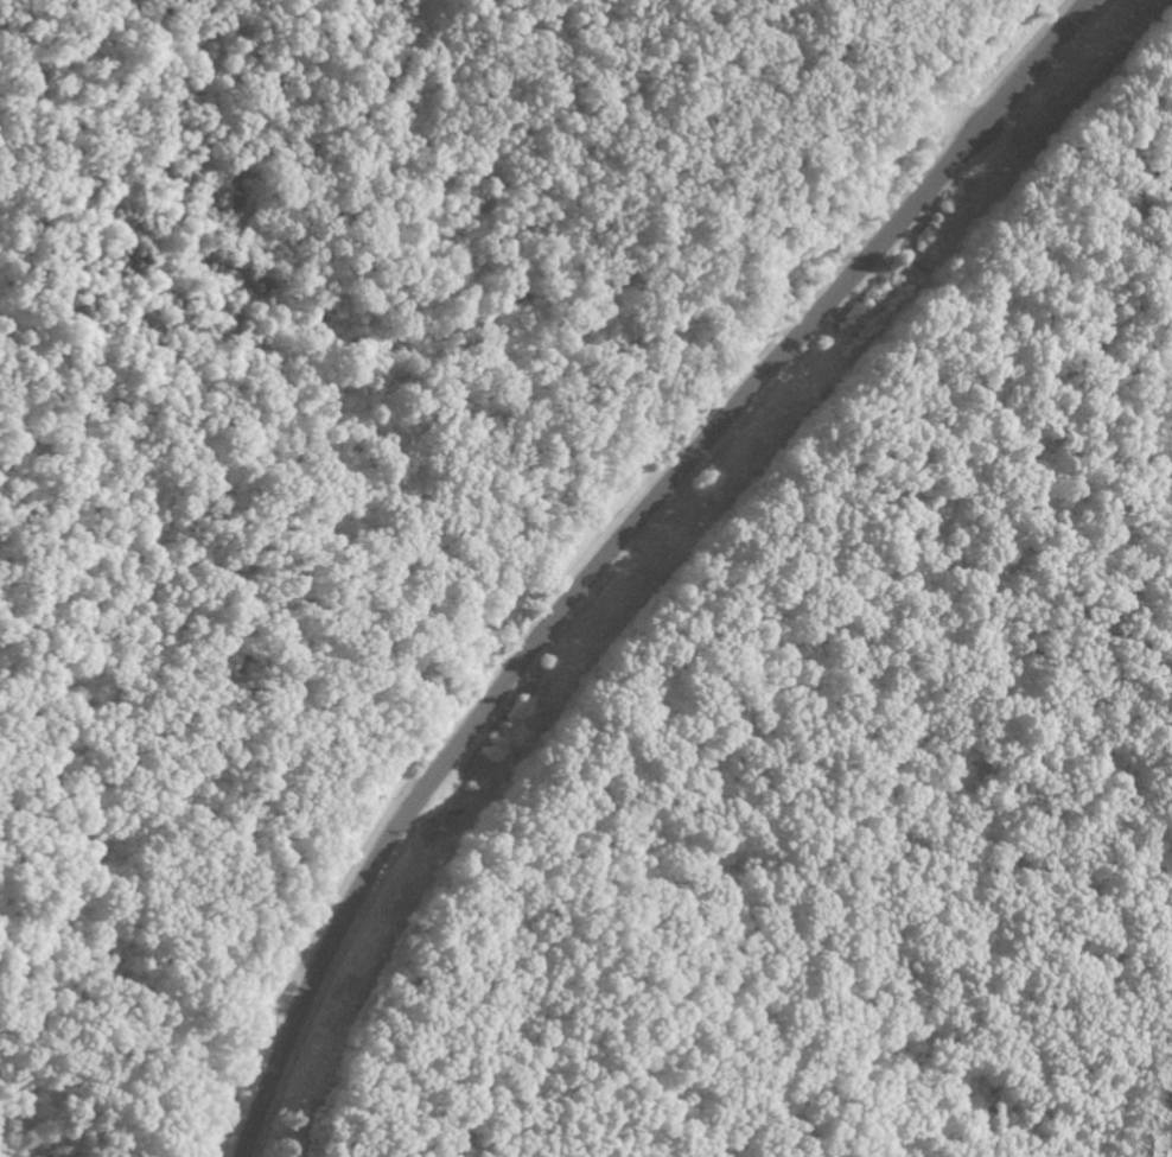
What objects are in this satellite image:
road: (619, 545)

